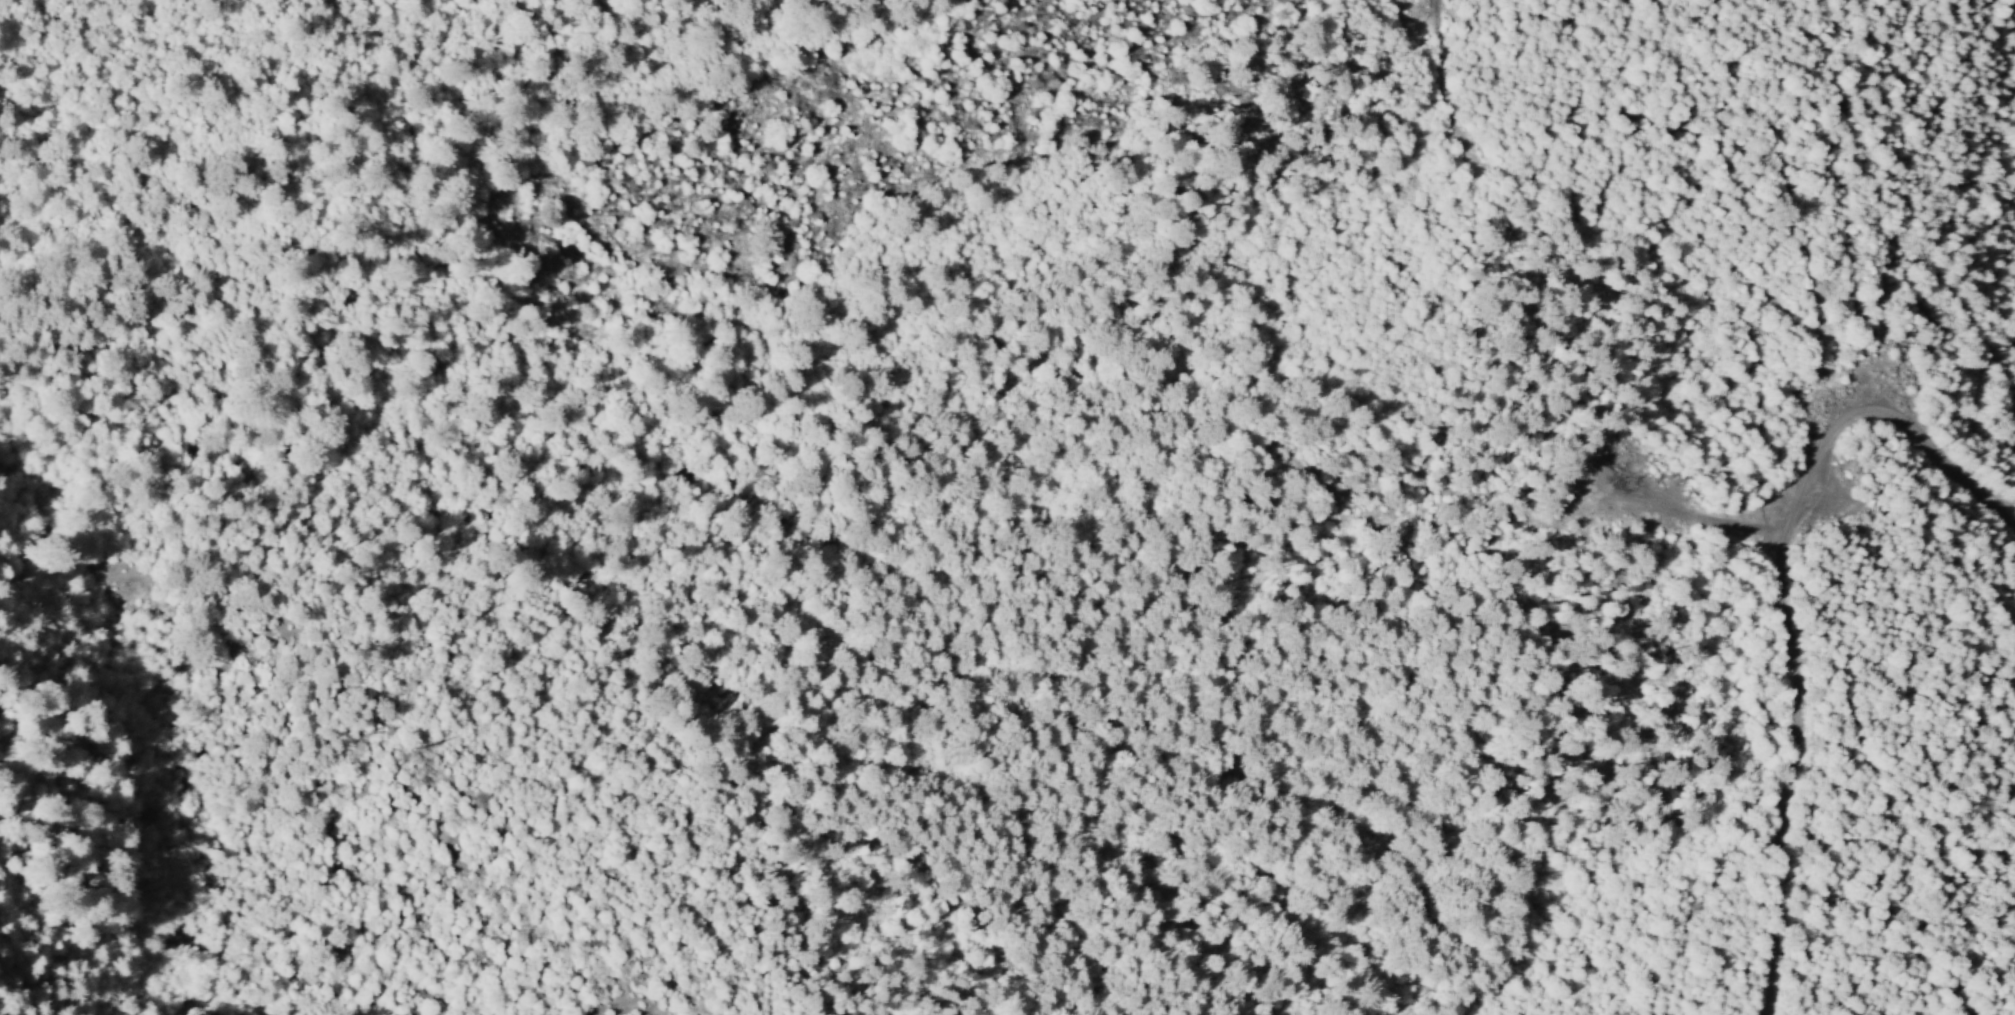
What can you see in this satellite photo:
road: (1780, 609)

